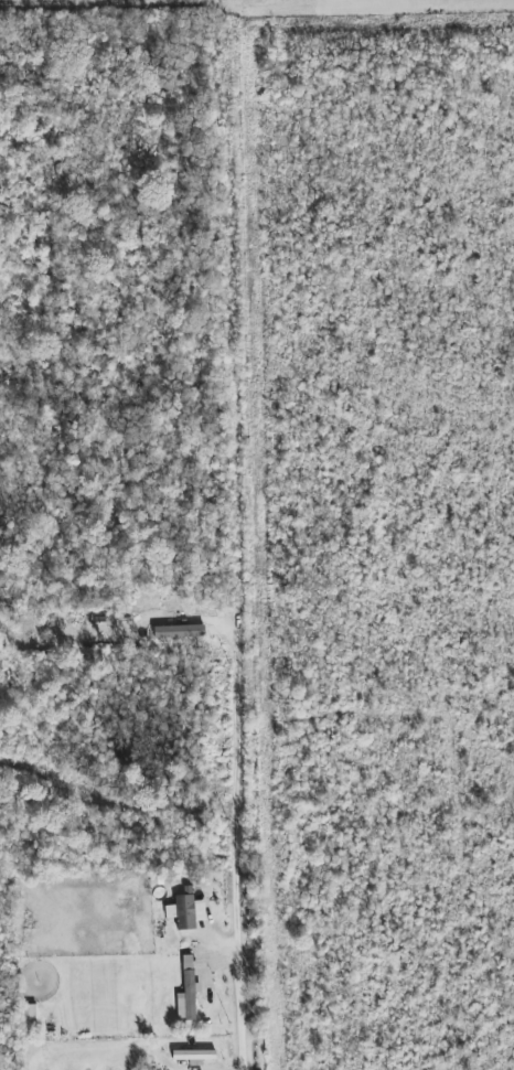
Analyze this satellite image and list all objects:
road: (248, 2)
road: (117, 10)
road: (244, 537)
building: (179, 631)
building: (185, 911)
building: (188, 992)
building: (29, 1018)

